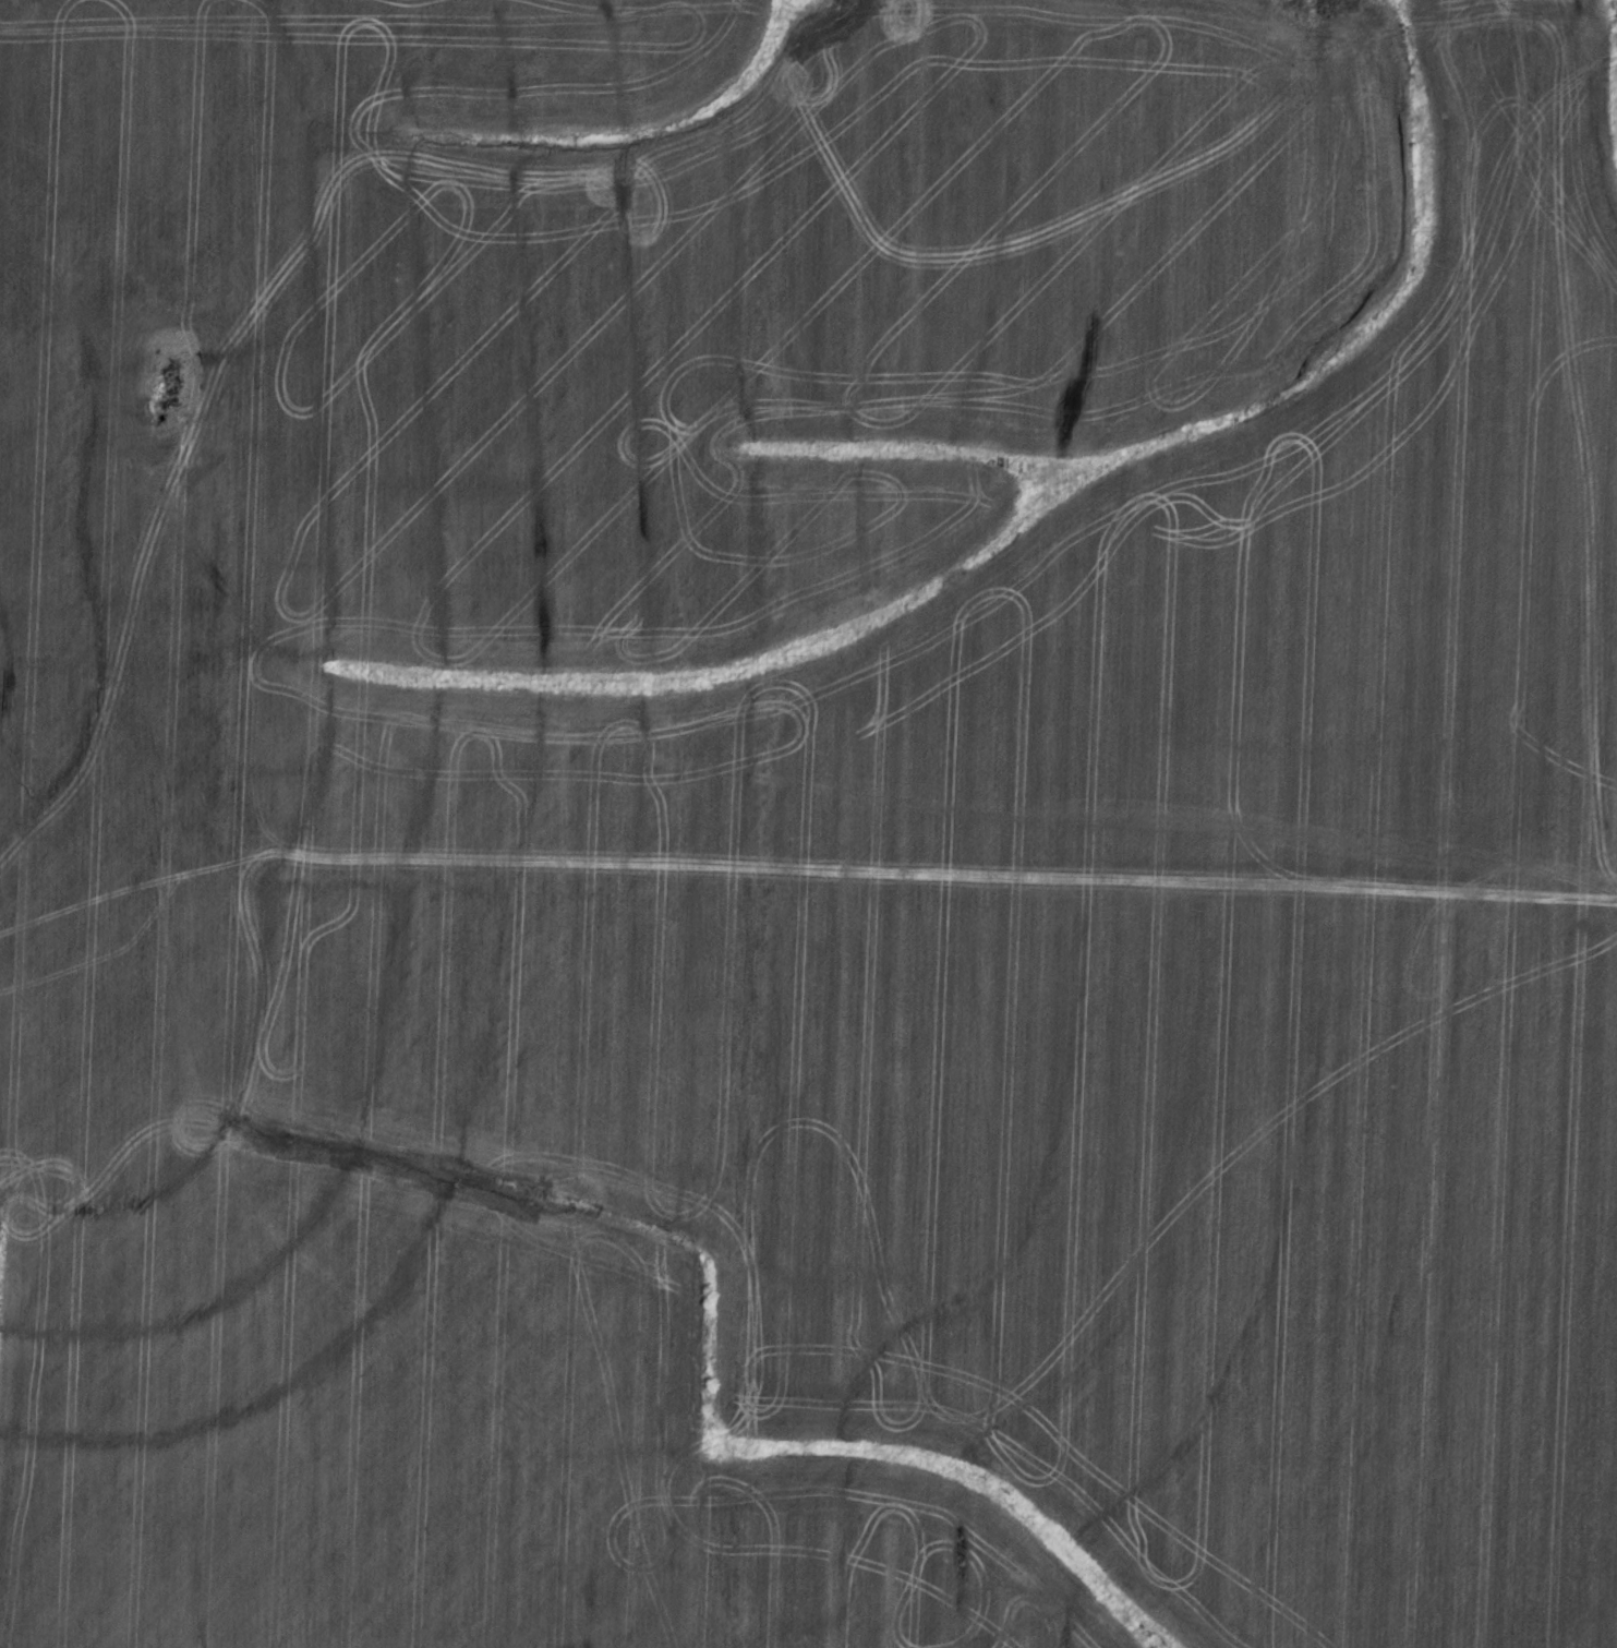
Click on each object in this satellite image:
road: (26, 306)
building: (177, 384)

